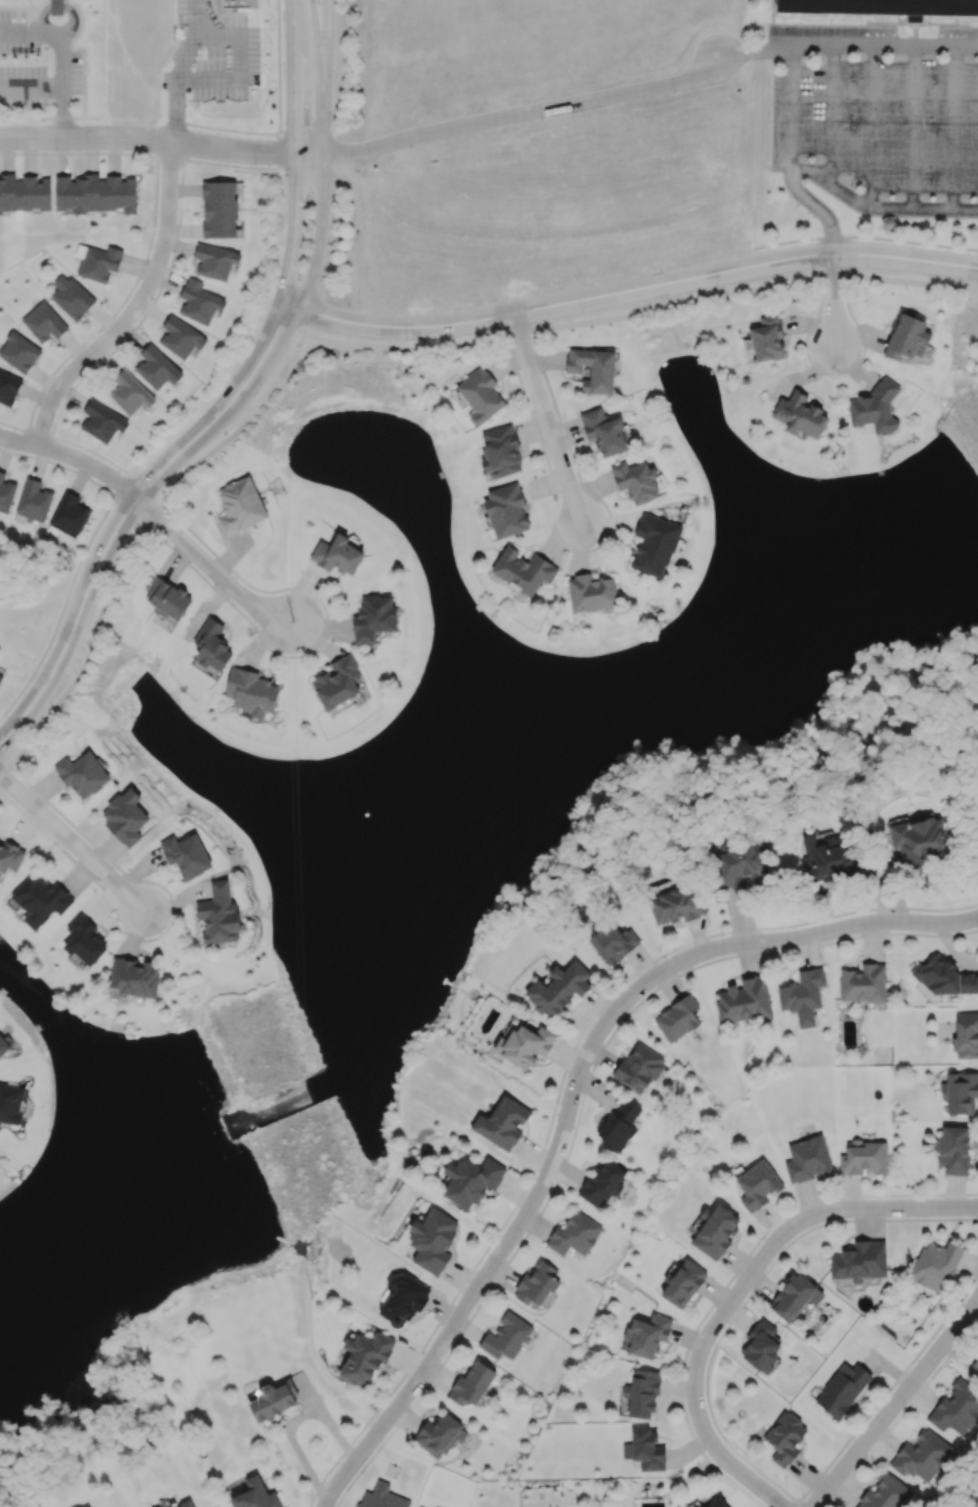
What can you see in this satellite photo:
building: (239, 3)
building: (882, 6)
building: (56, 7)
road: (877, 44)
road: (747, 51)
road: (63, 56)
road: (240, 64)
road: (181, 70)
road: (295, 76)
road: (322, 76)
road: (278, 86)
road: (32, 89)
road: (791, 114)
road: (832, 114)
road: (510, 116)
road: (50, 118)
parking lot: (881, 118)
road: (871, 124)
road: (911, 126)
road: (953, 127)
road: (220, 128)
road: (148, 140)
road: (158, 155)
building: (24, 193)
building: (95, 193)
road: (879, 207)
building: (219, 209)
road: (821, 212)
road: (295, 230)
road: (320, 235)
building: (215, 261)
building: (99, 263)
road: (630, 290)
road: (833, 296)
building: (70, 297)
building: (199, 302)
road: (140, 309)
road: (294, 320)
building: (43, 322)
building: (180, 337)
building: (907, 337)
building: (768, 339)
road: (372, 346)
building: (19, 352)
building: (154, 366)
building: (593, 368)
building: (8, 387)
building: (129, 393)
building: (480, 395)
building: (874, 408)
building: (800, 415)
road: (546, 416)
building: (102, 421)
building: (604, 431)
road: (20, 442)
building: (501, 451)
road: (91, 470)
building: (636, 481)
building: (6, 493)
building: (33, 500)
building: (239, 505)
building: (506, 510)
building: (68, 514)
road: (126, 515)
building: (654, 544)
building: (337, 554)
road: (211, 570)
building: (523, 570)
building: (591, 592)
building: (167, 598)
building: (373, 617)
building: (212, 645)
building: (0, 675)
building: (337, 682)
building: (250, 691)
building: (83, 774)
building: (125, 817)
building: (917, 839)
road: (70, 843)
building: (186, 855)
building: (10, 856)
building: (827, 858)
building: (741, 863)
building: (40, 899)
building: (675, 905)
building: (219, 914)
building: (84, 940)
building: (614, 943)
building: (135, 977)
building: (944, 977)
building: (863, 983)
building: (558, 988)
building: (803, 996)
building: (744, 1000)
building: (678, 1018)
building: (966, 1035)
building: (525, 1045)
building: (3, 1046)
building: (639, 1067)
road: (560, 1087)
building: (960, 1092)
road: (572, 1098)
building: (11, 1102)
road: (580, 1105)
building: (502, 1123)
building: (618, 1126)
building: (953, 1150)
building: (864, 1157)
building: (807, 1159)
building: (471, 1180)
building: (602, 1183)
building: (757, 1185)
building: (715, 1231)
building: (574, 1234)
building: (432, 1240)
building: (859, 1261)
building: (935, 1265)
building: (538, 1281)
building: (683, 1283)
road: (744, 1286)
building: (794, 1297)
building: (401, 1300)
building: (647, 1335)
building: (506, 1336)
building: (762, 1346)
building: (365, 1357)
building: (974, 1367)
building: (472, 1384)
building: (842, 1389)
building: (642, 1392)
building: (273, 1400)
road: (893, 1401)
building: (956, 1409)
building: (439, 1435)
building: (784, 1438)
building: (645, 1450)
building: (921, 1456)
building: (885, 1493)
building: (255, 1495)
building: (381, 1497)
building: (717, 1503)
building: (186, 1504)
building: (87, 1506)
building: (168, 1506)

